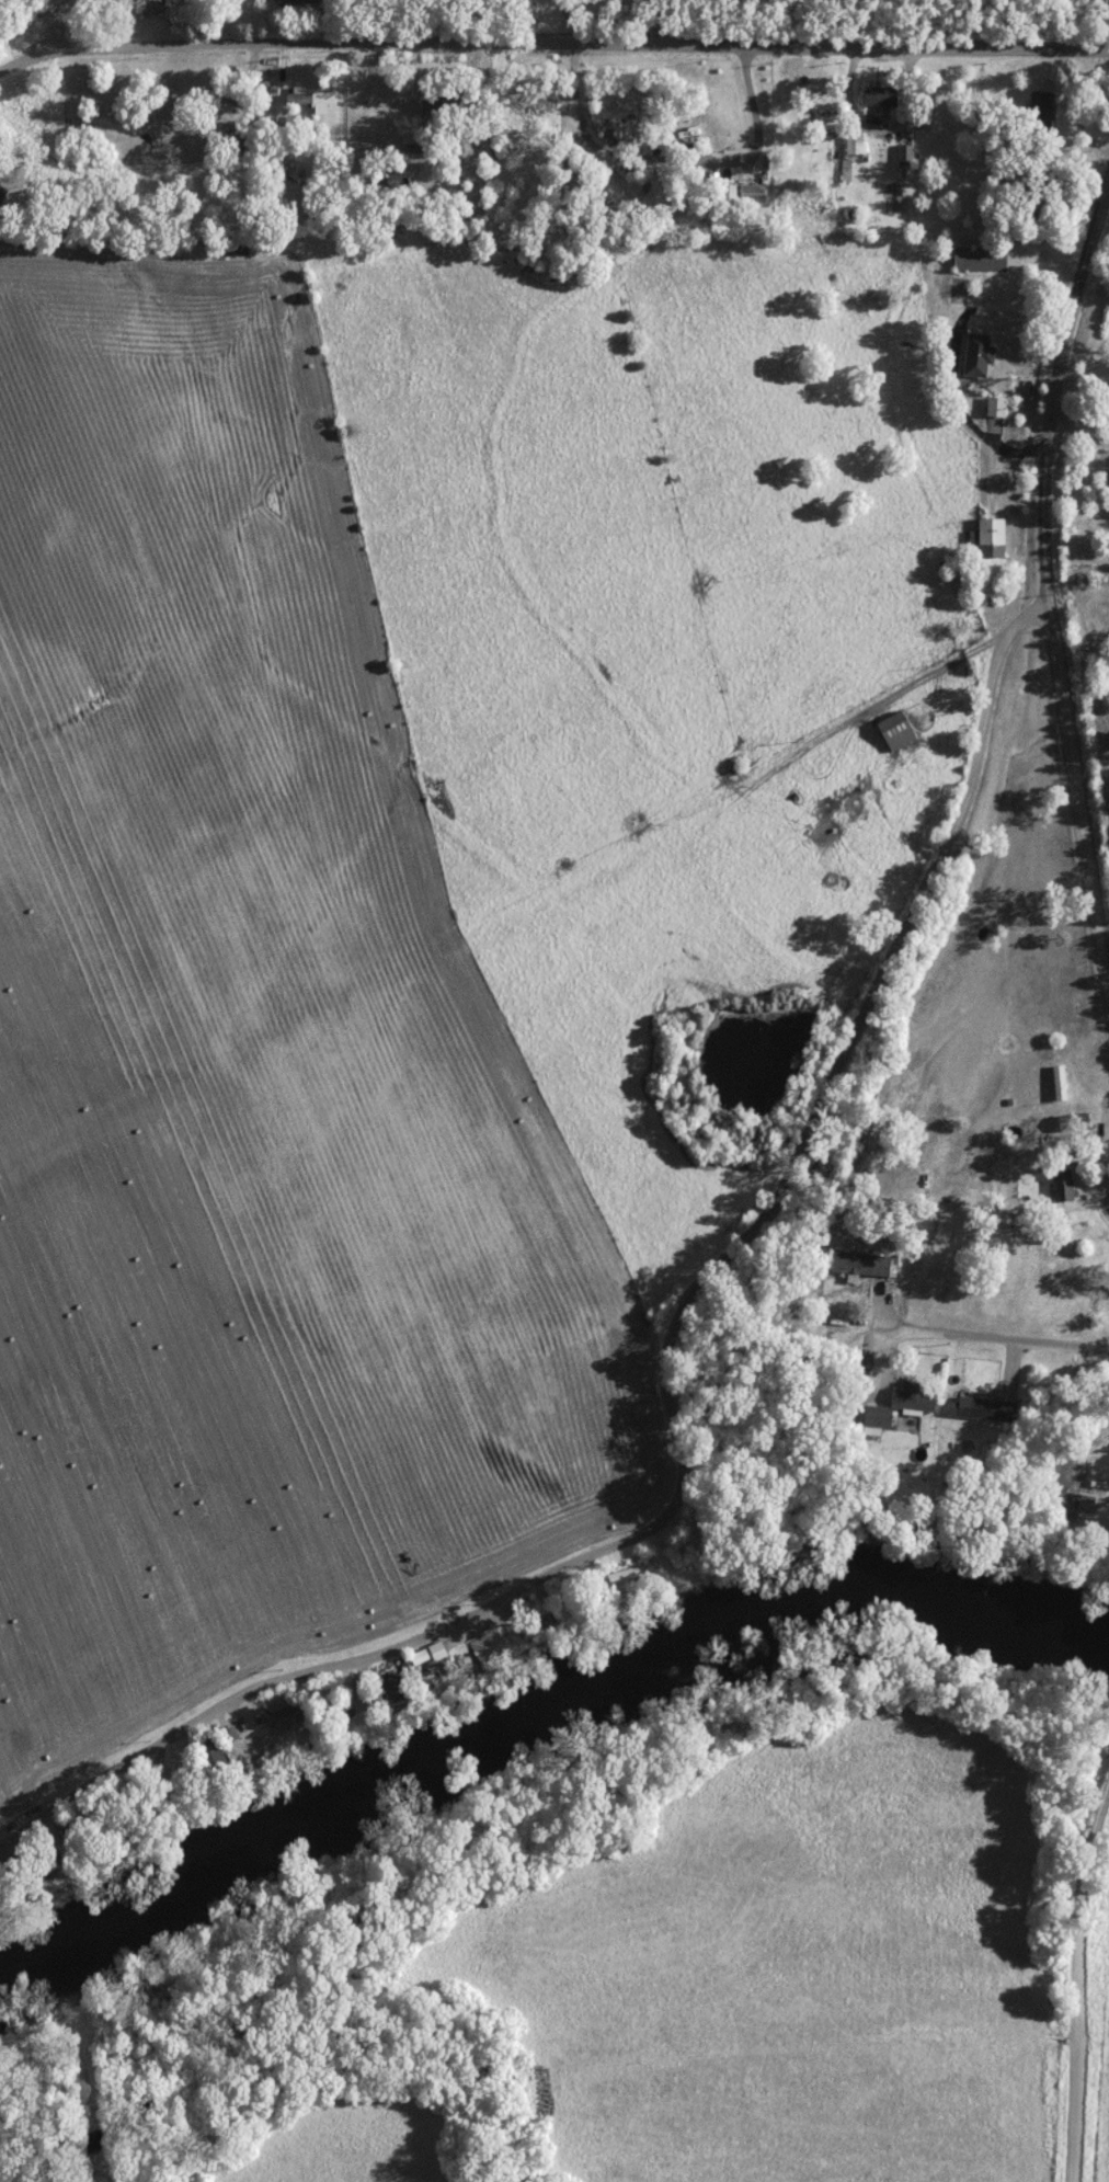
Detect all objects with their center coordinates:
building: (146, 10)
road: (44, 27)
road: (567, 41)
road: (12, 58)
building: (873, 99)
building: (305, 101)
building: (427, 107)
building: (530, 108)
building: (597, 114)
building: (1033, 114)
building: (278, 125)
building: (605, 133)
building: (844, 157)
building: (900, 163)
building: (738, 195)
building: (219, 249)
building: (975, 261)
building: (972, 356)
building: (992, 408)
building: (985, 540)
road: (1049, 579)
building: (889, 733)
building: (1055, 1084)
building: (1055, 1185)
building: (857, 1265)
road: (926, 1326)
road: (721, 1402)
building: (894, 1405)
building: (976, 1409)
building: (624, 1574)
building: (481, 1645)
building: (427, 1652)
road: (1101, 1787)
road: (1081, 1995)

